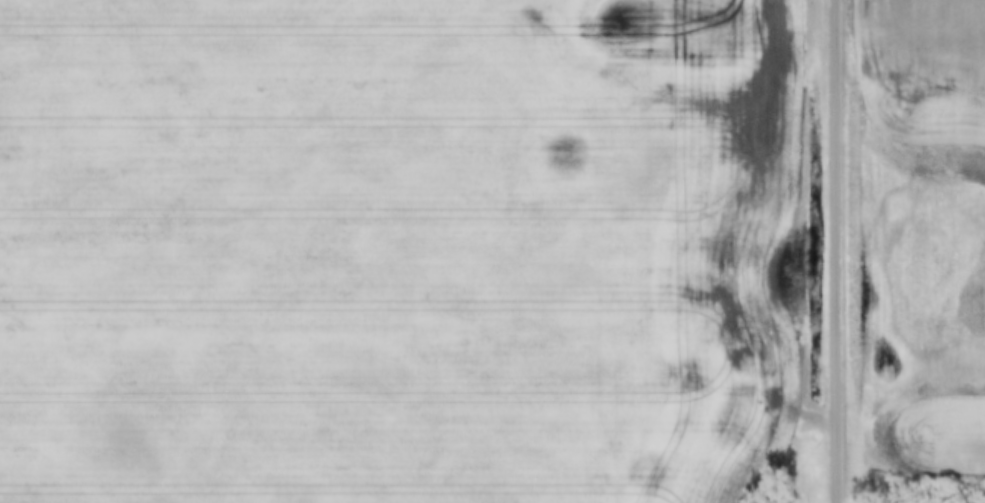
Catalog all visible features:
road: (838, 251)

